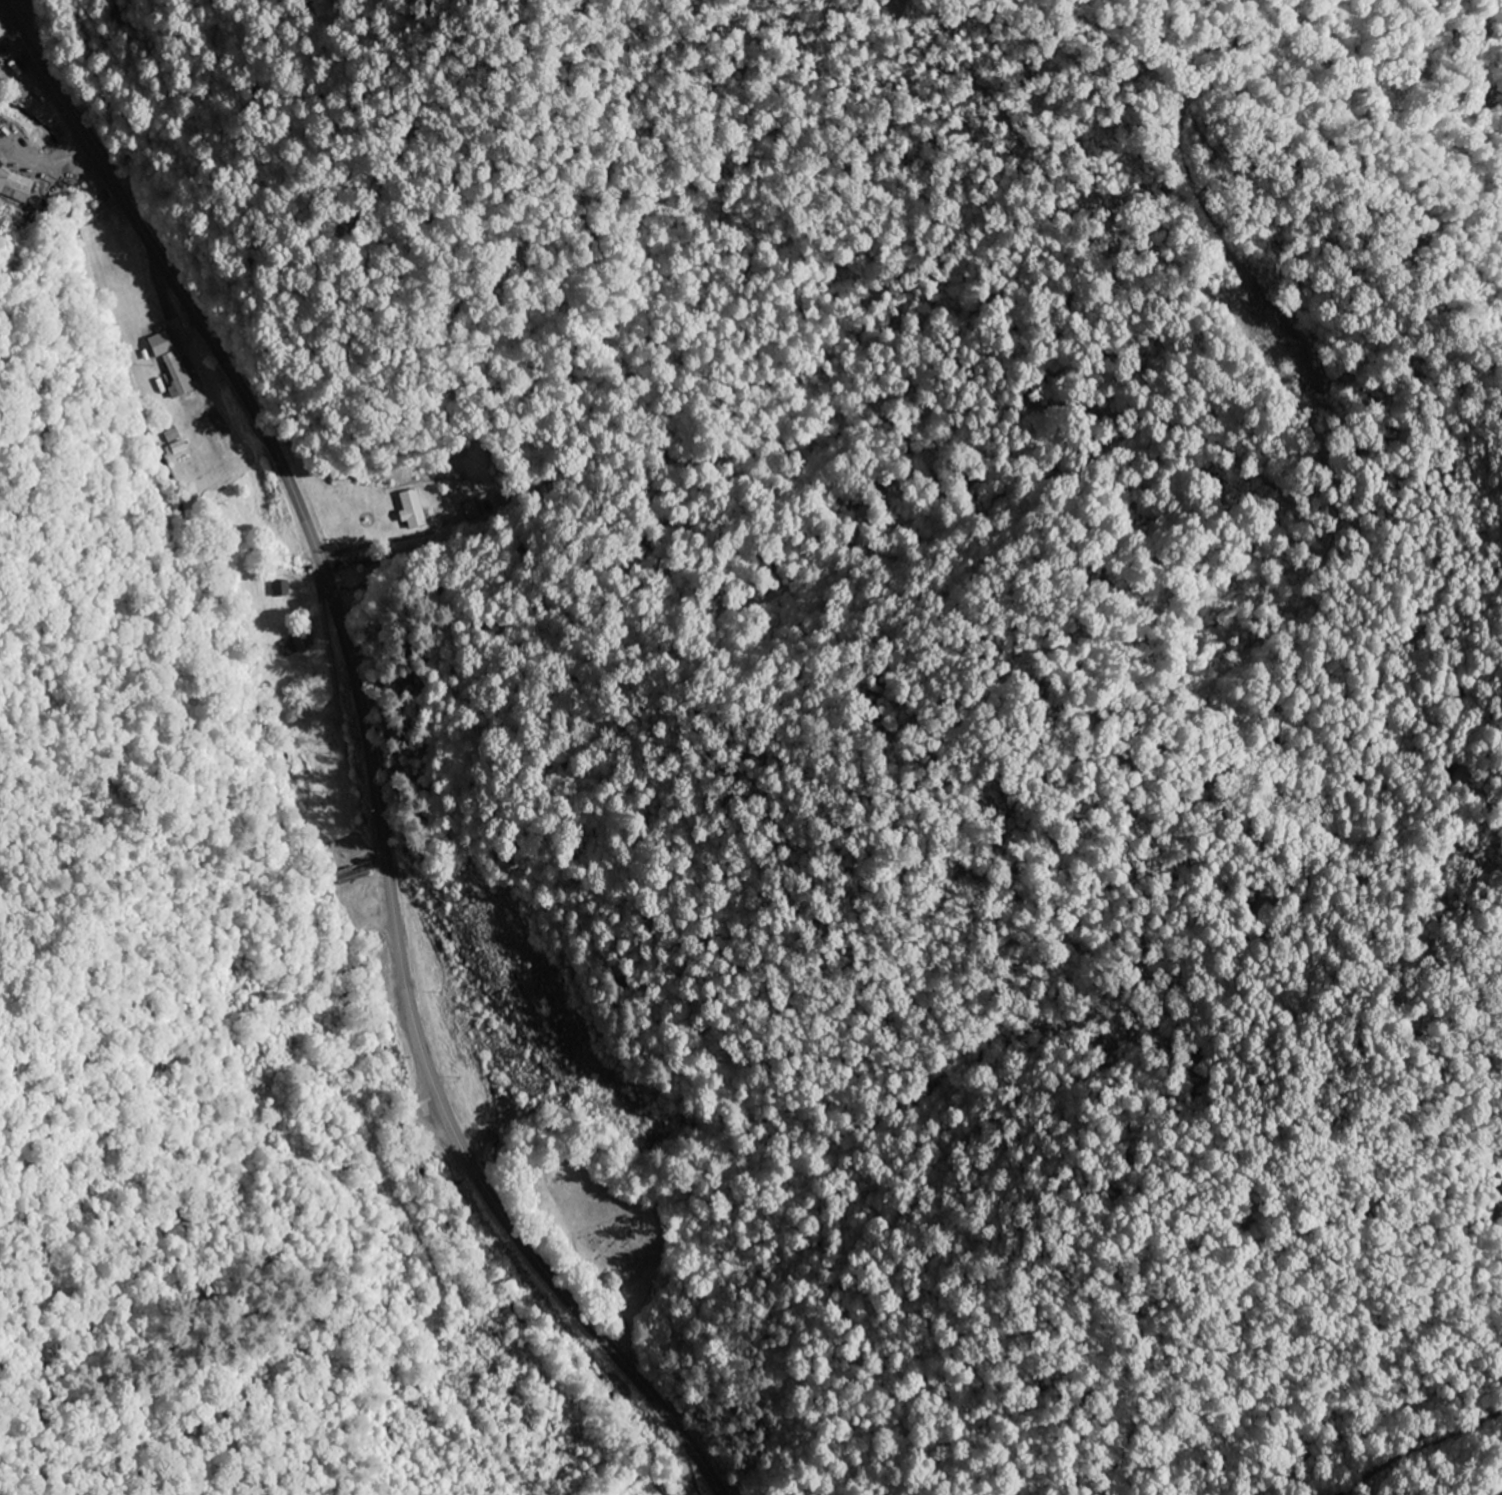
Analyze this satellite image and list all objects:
building: (15, 186)
building: (162, 345)
building: (178, 376)
building: (173, 436)
building: (177, 450)
building: (413, 511)
building: (472, 512)
building: (282, 589)
building: (297, 645)
road: (370, 752)
building: (353, 875)

